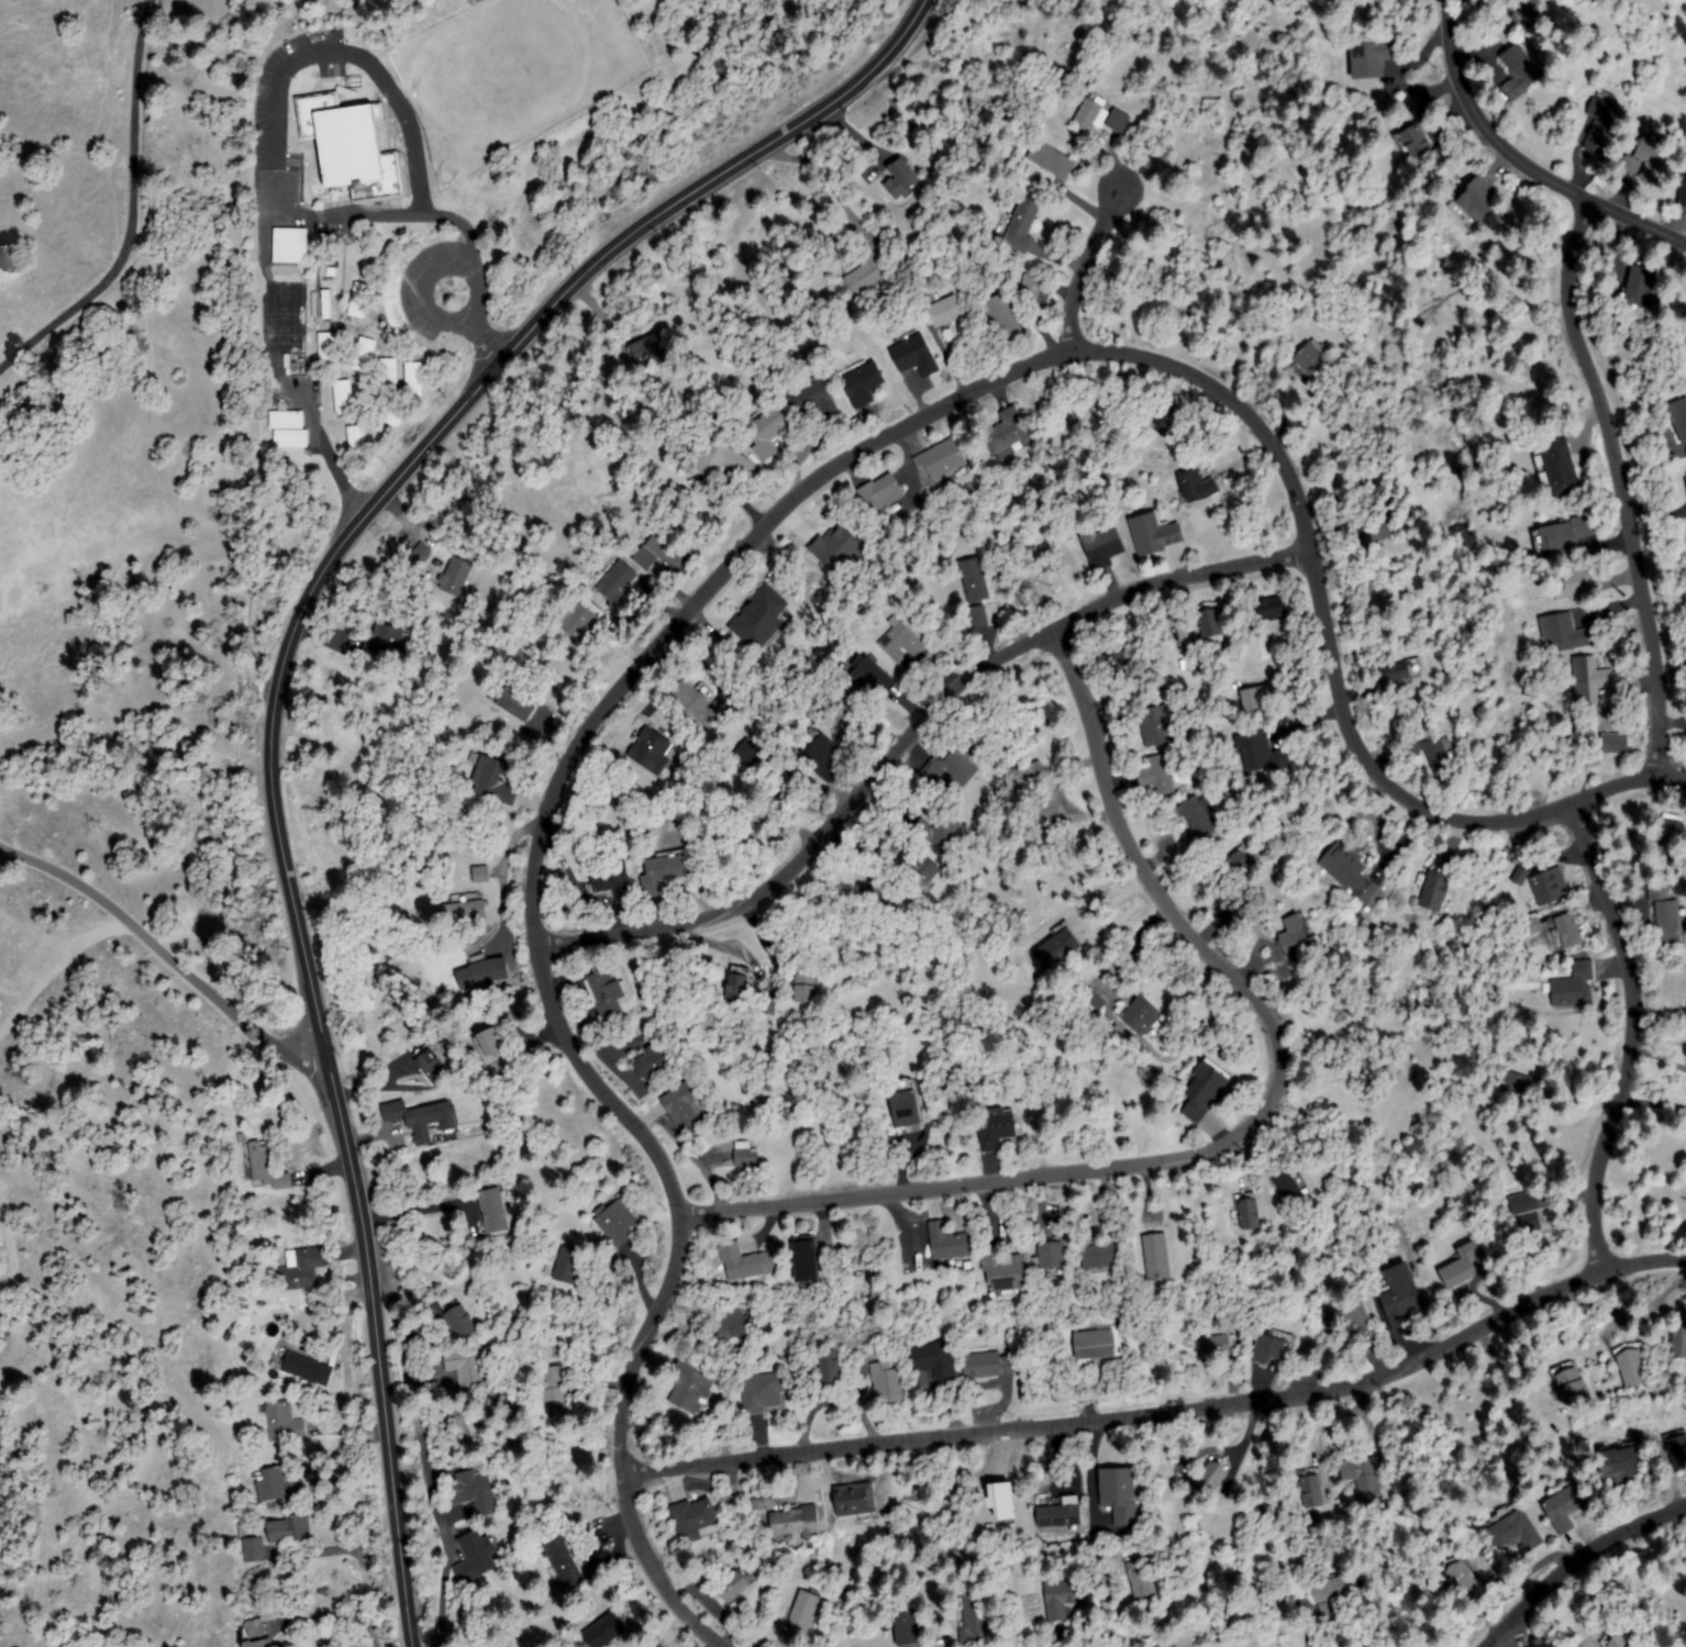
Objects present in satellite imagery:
building: (1527, 12)
building: (1375, 57)
building: (1520, 71)
building: (1092, 114)
building: (1118, 122)
building: (1600, 129)
building: (1413, 141)
building: (351, 146)
building: (1443, 155)
road: (1521, 158)
building: (1052, 159)
building: (1651, 159)
building: (1630, 167)
building: (901, 179)
building: (1683, 191)
building: (1476, 201)
road: (133, 210)
building: (1022, 224)
building: (290, 245)
road: (1083, 271)
building: (865, 272)
building: (1640, 286)
building: (1031, 287)
building: (359, 300)
building: (326, 303)
building: (945, 312)
building: (1002, 318)
building: (329, 349)
building: (648, 349)
building: (364, 355)
building: (916, 355)
building: (1316, 361)
building: (388, 376)
building: (413, 380)
building: (862, 383)
building: (343, 397)
building: (810, 398)
building: (389, 412)
building: (1681, 416)
building: (288, 419)
building: (1166, 419)
building: (767, 430)
building: (1008, 433)
building: (292, 438)
building: (357, 443)
building: (721, 458)
building: (942, 460)
building: (1557, 470)
road: (1617, 475)
building: (1199, 486)
building: (879, 496)
building: (1378, 531)
road: (758, 532)
building: (1154, 534)
building: (1567, 534)
building: (1102, 547)
building: (838, 550)
building: (662, 552)
building: (420, 556)
building: (456, 576)
building: (974, 581)
building: (1579, 585)
building: (617, 587)
building: (1271, 609)
building: (977, 617)
building: (581, 620)
building: (759, 620)
building: (1210, 623)
building: (1566, 633)
building: (901, 642)
building: (385, 643)
building: (1119, 667)
building: (1396, 674)
building: (868, 679)
building: (1590, 682)
road: (275, 690)
building: (1256, 700)
building: (514, 701)
building: (696, 703)
building: (841, 722)
building: (1152, 725)
road: (910, 734)
building: (1615, 744)
building: (1411, 748)
building: (653, 750)
building: (1260, 754)
building: (820, 755)
building: (1440, 759)
building: (952, 766)
building: (1156, 776)
building: (1027, 778)
building: (493, 780)
building: (1044, 811)
building: (1196, 819)
building: (757, 827)
building: (939, 834)
building: (1672, 836)
road: (8, 853)
building: (1233, 866)
building: (665, 870)
building: (1349, 871)
building: (479, 875)
building: (921, 875)
building: (1520, 876)
building: (611, 879)
building: (1550, 886)
building: (1659, 890)
building: (1434, 891)
building: (883, 899)
building: (465, 911)
building: (1232, 917)
building: (1668, 924)
building: (1530, 927)
building: (1568, 932)
building: (1296, 937)
building: (1057, 947)
road: (148, 957)
building: (486, 973)
building: (807, 983)
building: (740, 986)
building: (1574, 987)
building: (609, 990)
building: (1091, 1001)
building: (766, 1005)
building: (1140, 1016)
road: (1631, 1033)
building: (490, 1043)
building: (655, 1062)
building: (431, 1066)
building: (1512, 1086)
building: (1205, 1091)
building: (906, 1103)
building: (683, 1106)
building: (422, 1119)
road: (1245, 1127)
building: (998, 1128)
building: (746, 1158)
building: (266, 1167)
building: (1288, 1184)
building: (1530, 1209)
building: (493, 1211)
building: (1247, 1213)
building: (617, 1225)
building: (949, 1243)
building: (1145, 1248)
building: (1051, 1254)
building: (1099, 1258)
building: (807, 1261)
building: (746, 1262)
building: (1461, 1267)
building: (567, 1268)
building: (302, 1269)
building: (1005, 1272)
building: (1400, 1298)
building: (1332, 1318)
building: (461, 1323)
building: (1356, 1324)
building: (731, 1327)
building: (1678, 1343)
building: (1218, 1344)
building: (1097, 1345)
building: (1273, 1347)
building: (934, 1360)
building: (989, 1366)
building: (465, 1367)
building: (308, 1368)
building: (829, 1368)
building: (1633, 1369)
building: (887, 1384)
building: (1569, 1384)
building: (554, 1387)
building: (690, 1387)
building: (764, 1392)
road: (1166, 1412)
building: (489, 1417)
building: (282, 1423)
building: (1677, 1449)
building: (1619, 1467)
building: (1363, 1476)
building: (1211, 1477)
building: (278, 1483)
building: (1311, 1490)
building: (473, 1492)
building: (1119, 1494)
building: (762, 1498)
building: (855, 1500)
building: (1564, 1504)
building: (1060, 1514)
building: (694, 1521)
building: (795, 1523)
building: (289, 1528)
building: (1512, 1529)
building: (254, 1549)
building: (474, 1557)
road: (1573, 1560)
building: (563, 1562)
building: (591, 1570)
building: (1141, 1578)
building: (1460, 1578)
building: (735, 1585)
building: (1329, 1594)
building: (1063, 1596)
building: (802, 1616)
building: (974, 1622)
building: (908, 1627)
building: (255, 1628)
road: (1517, 1628)
building: (606, 1629)
building: (1615, 1639)
building: (260, 1644)
building: (506, 1646)

